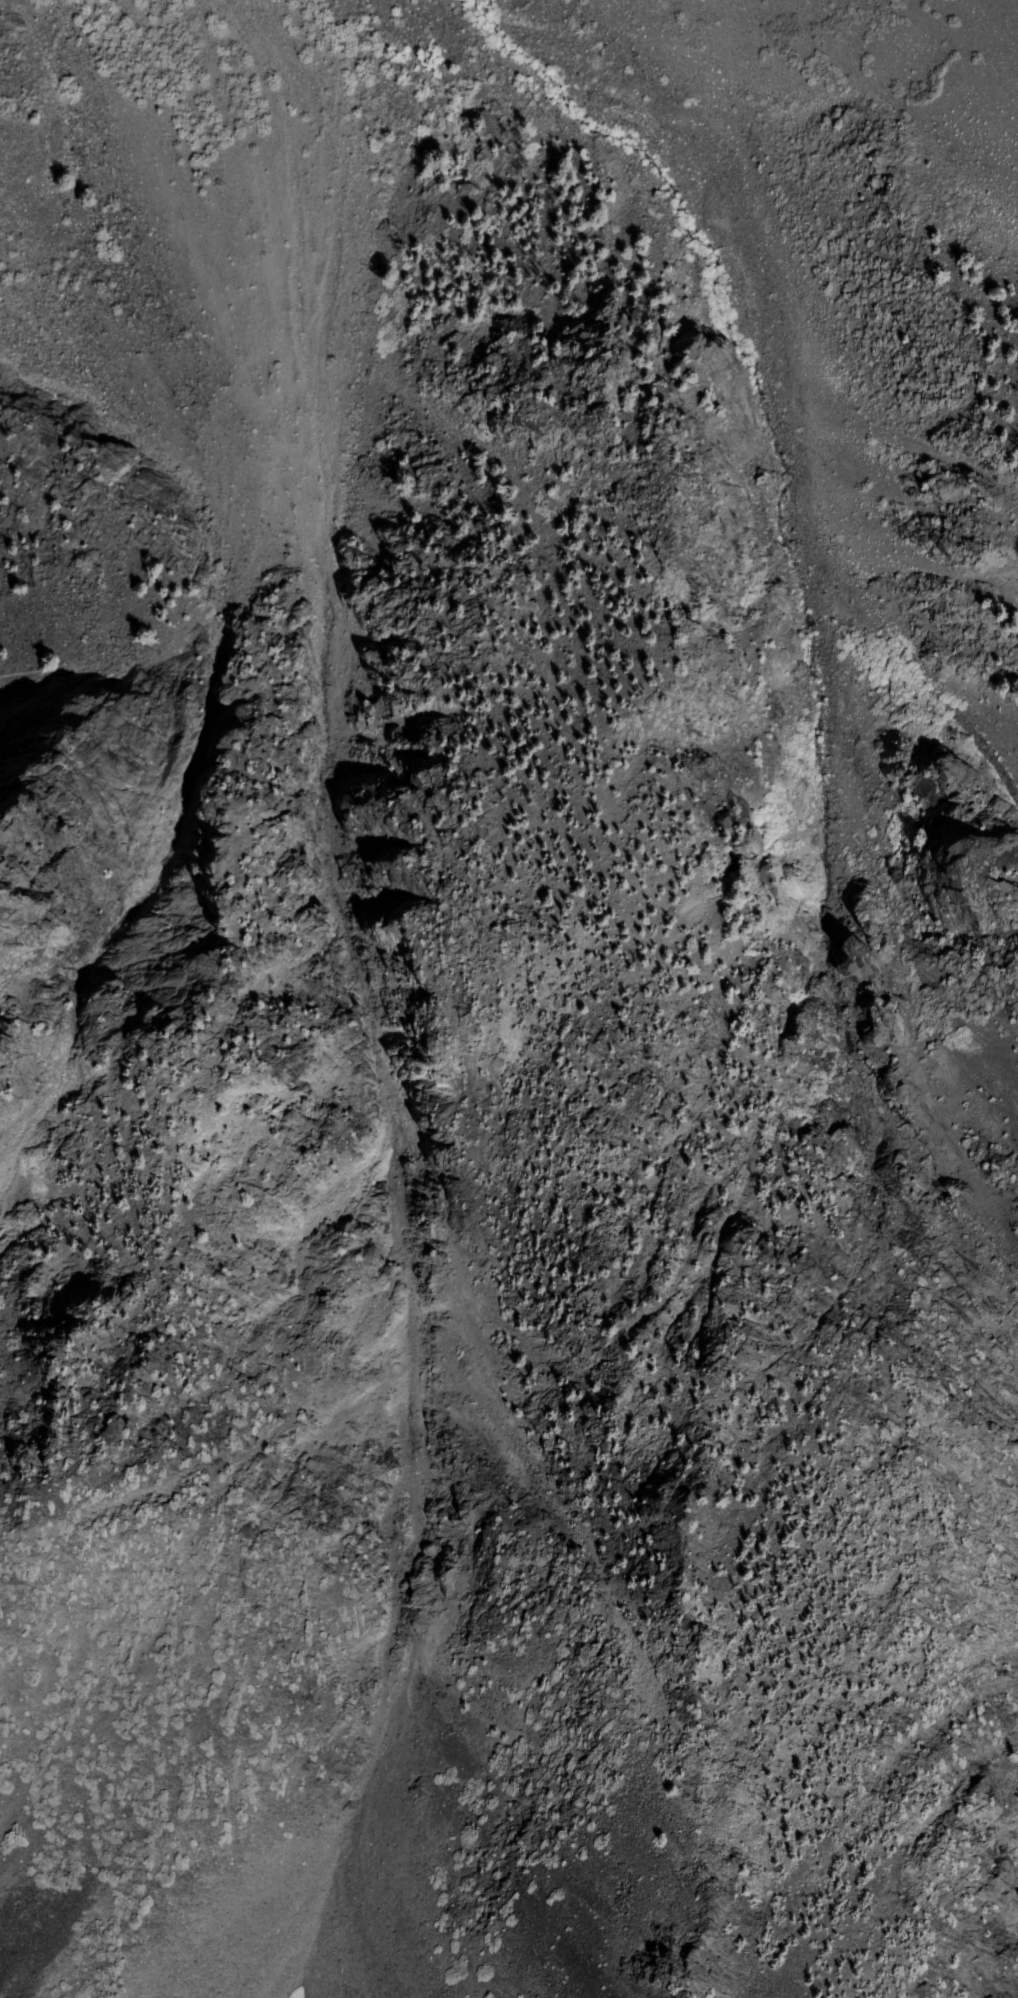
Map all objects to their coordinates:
road: (54, 673)

